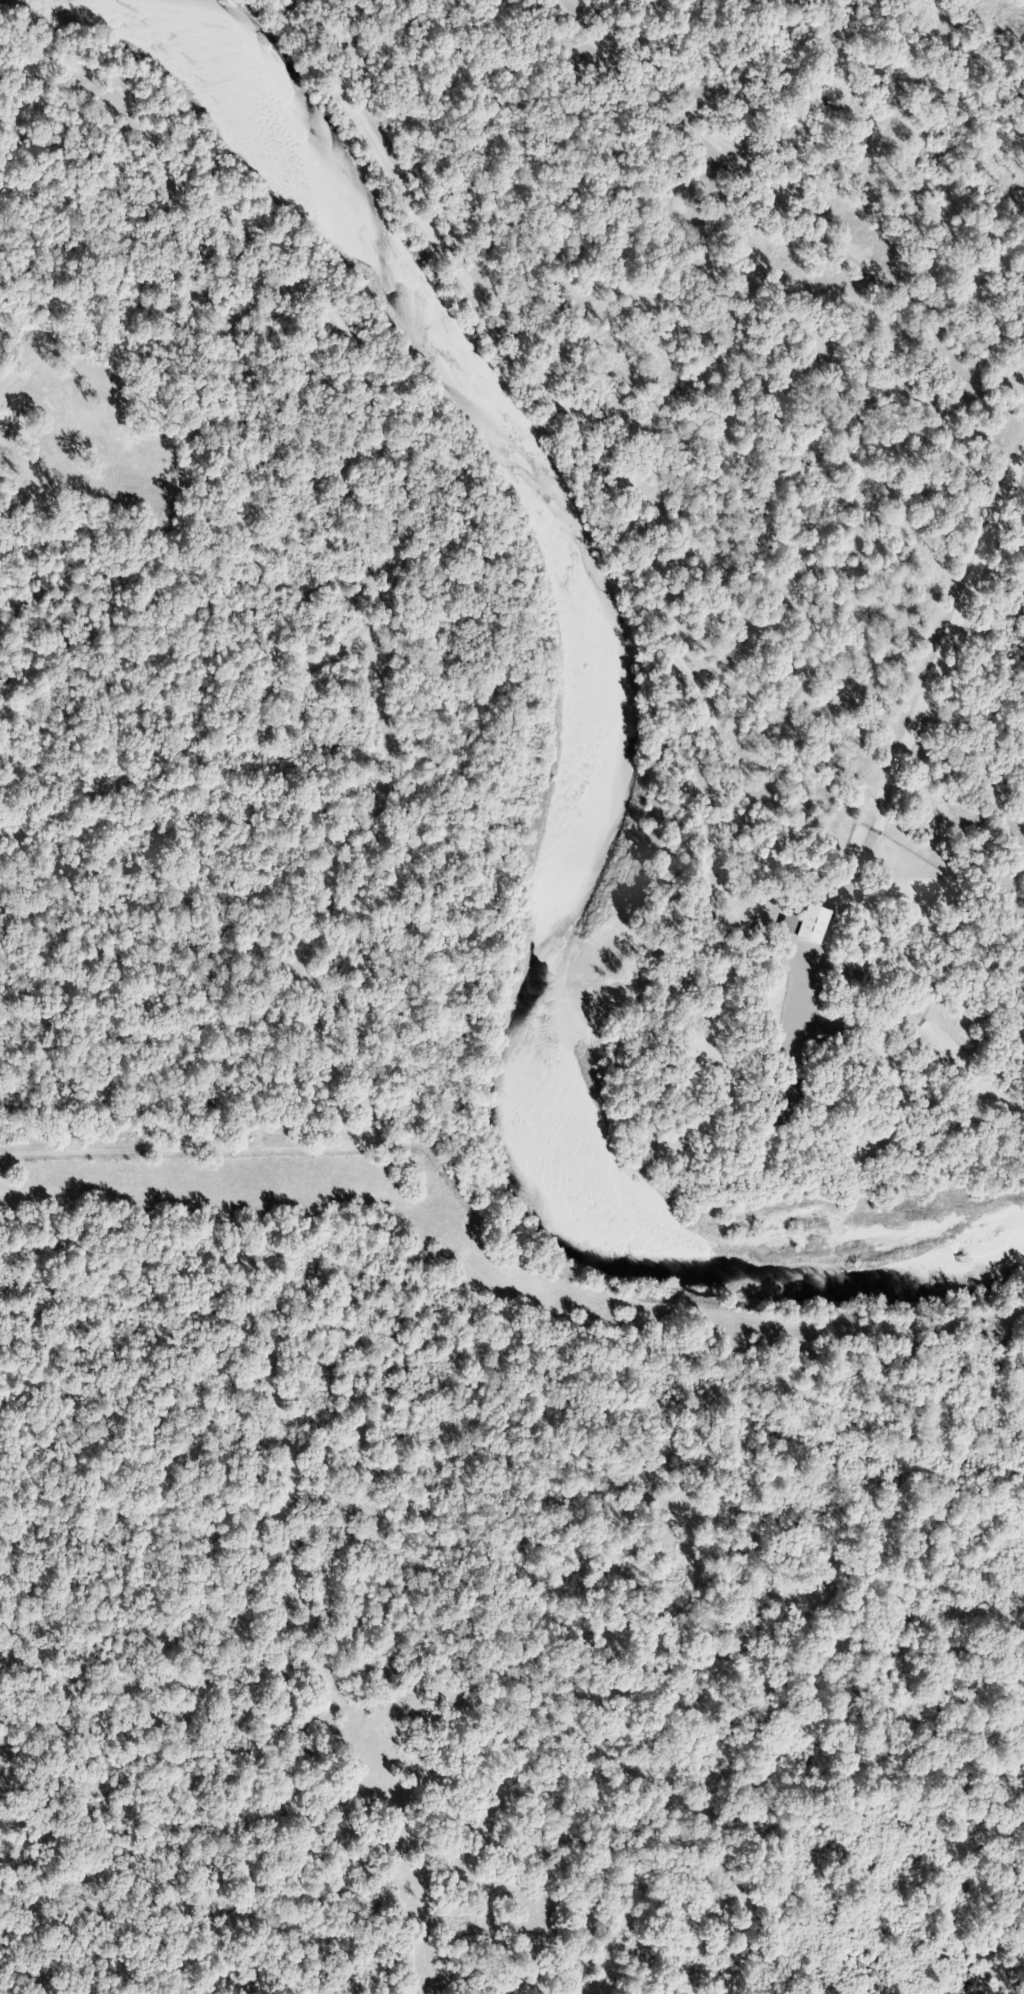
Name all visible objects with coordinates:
building: (806, 921)
building: (828, 1035)

